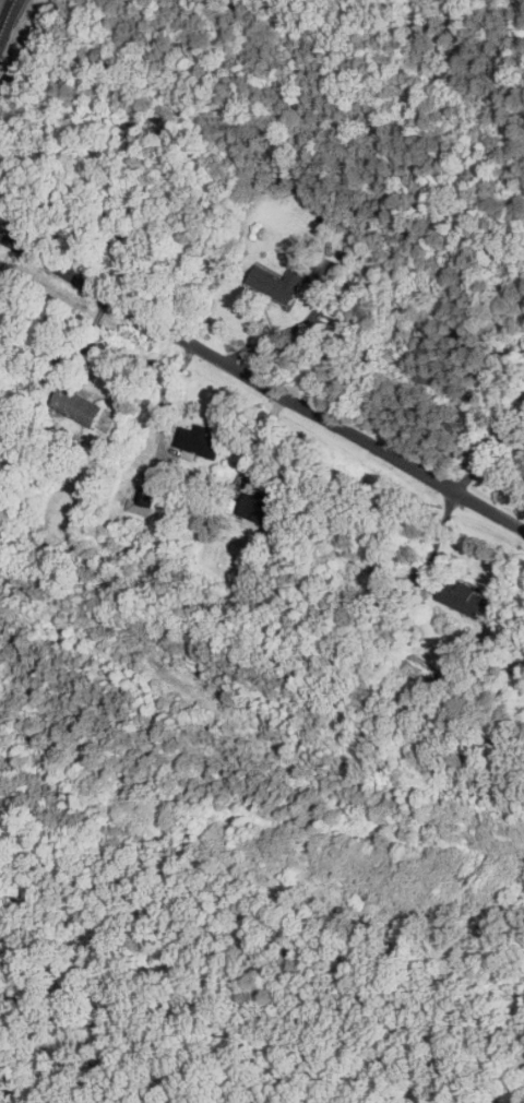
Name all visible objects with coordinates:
road: (7, 20)
building: (281, 281)
road: (287, 332)
road: (261, 382)
road: (168, 392)
building: (75, 406)
building: (199, 442)
road: (489, 452)
building: (141, 500)
building: (258, 508)
building: (462, 598)

